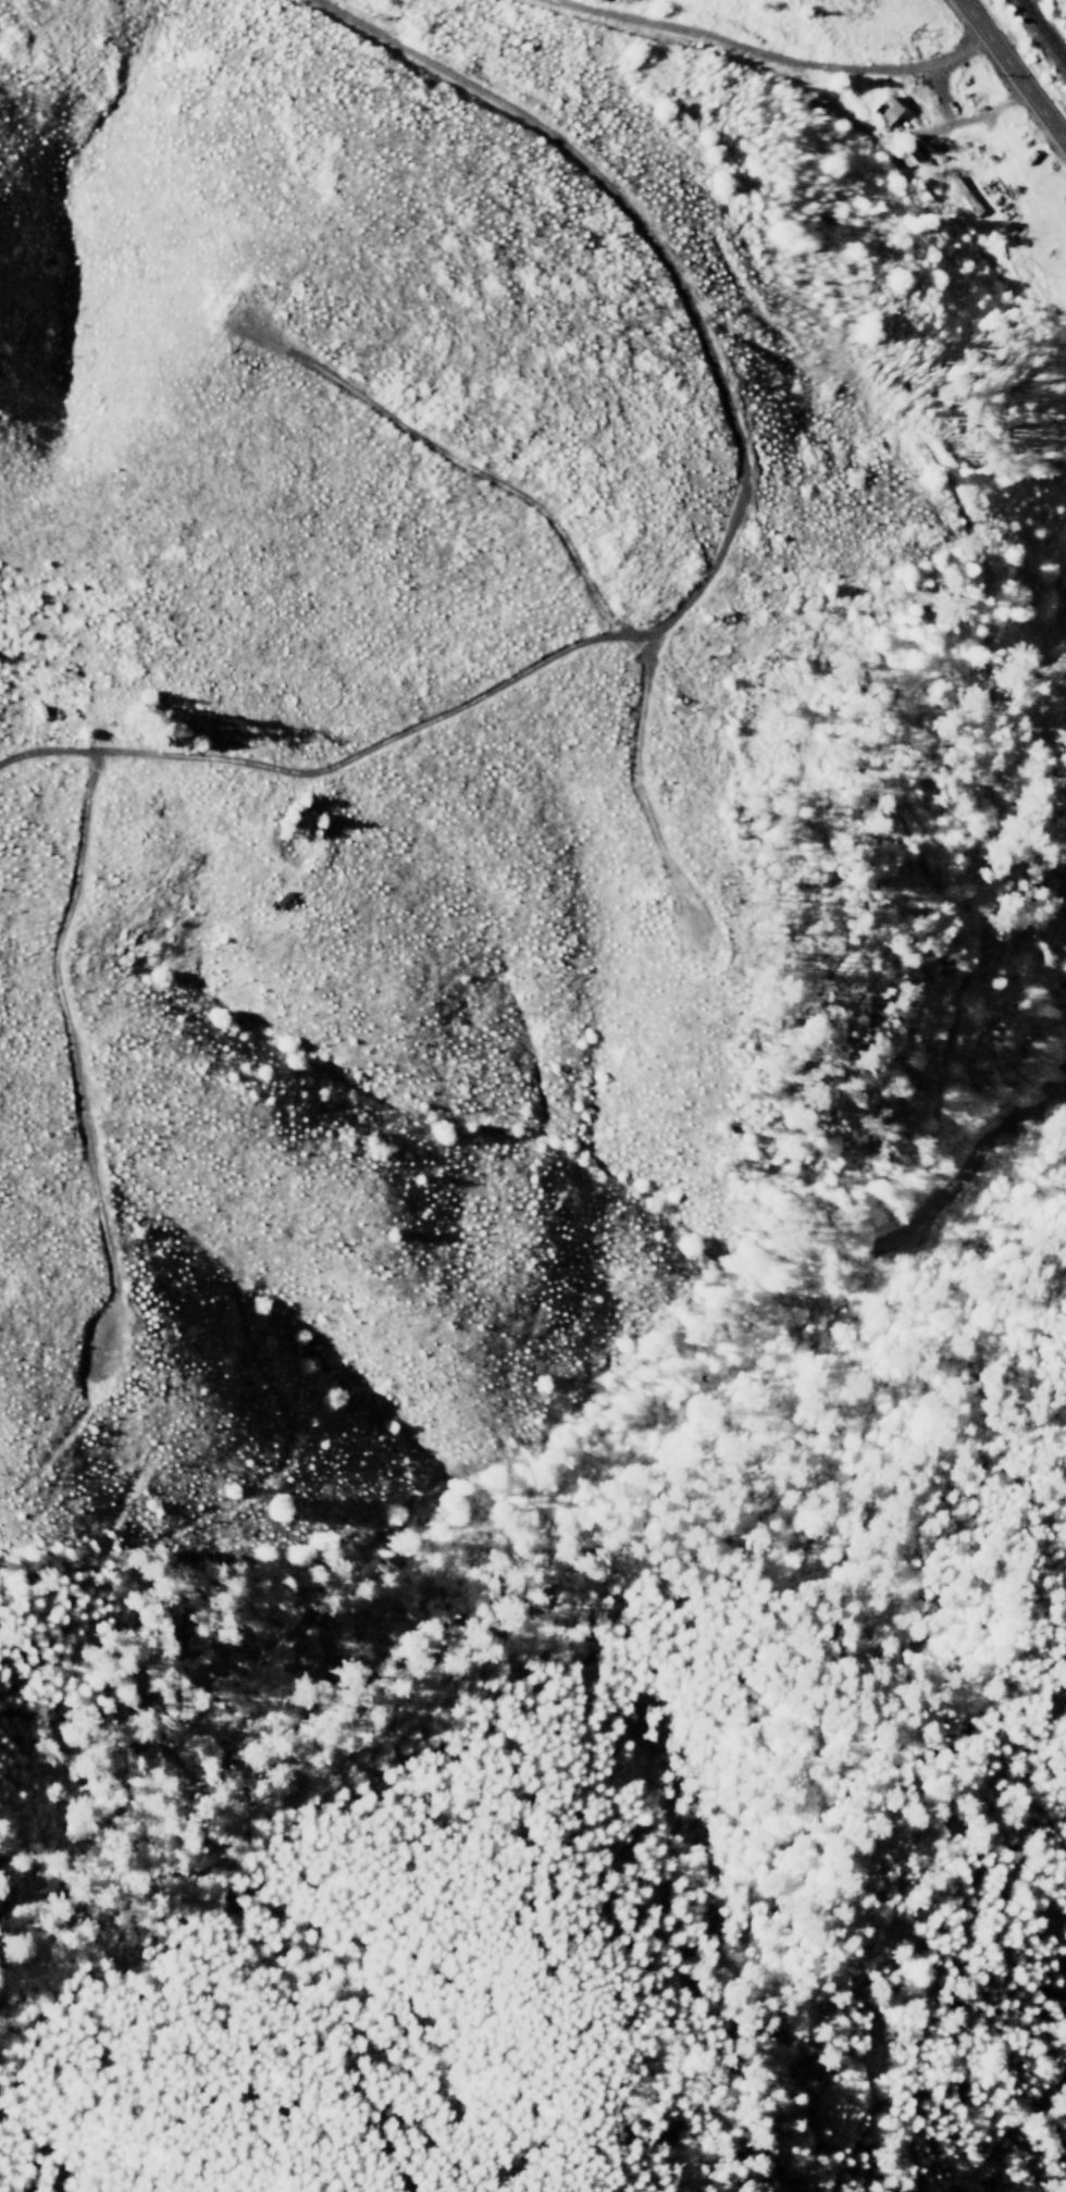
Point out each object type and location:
railway: (1039, 36)
road: (1008, 77)
building: (885, 110)

